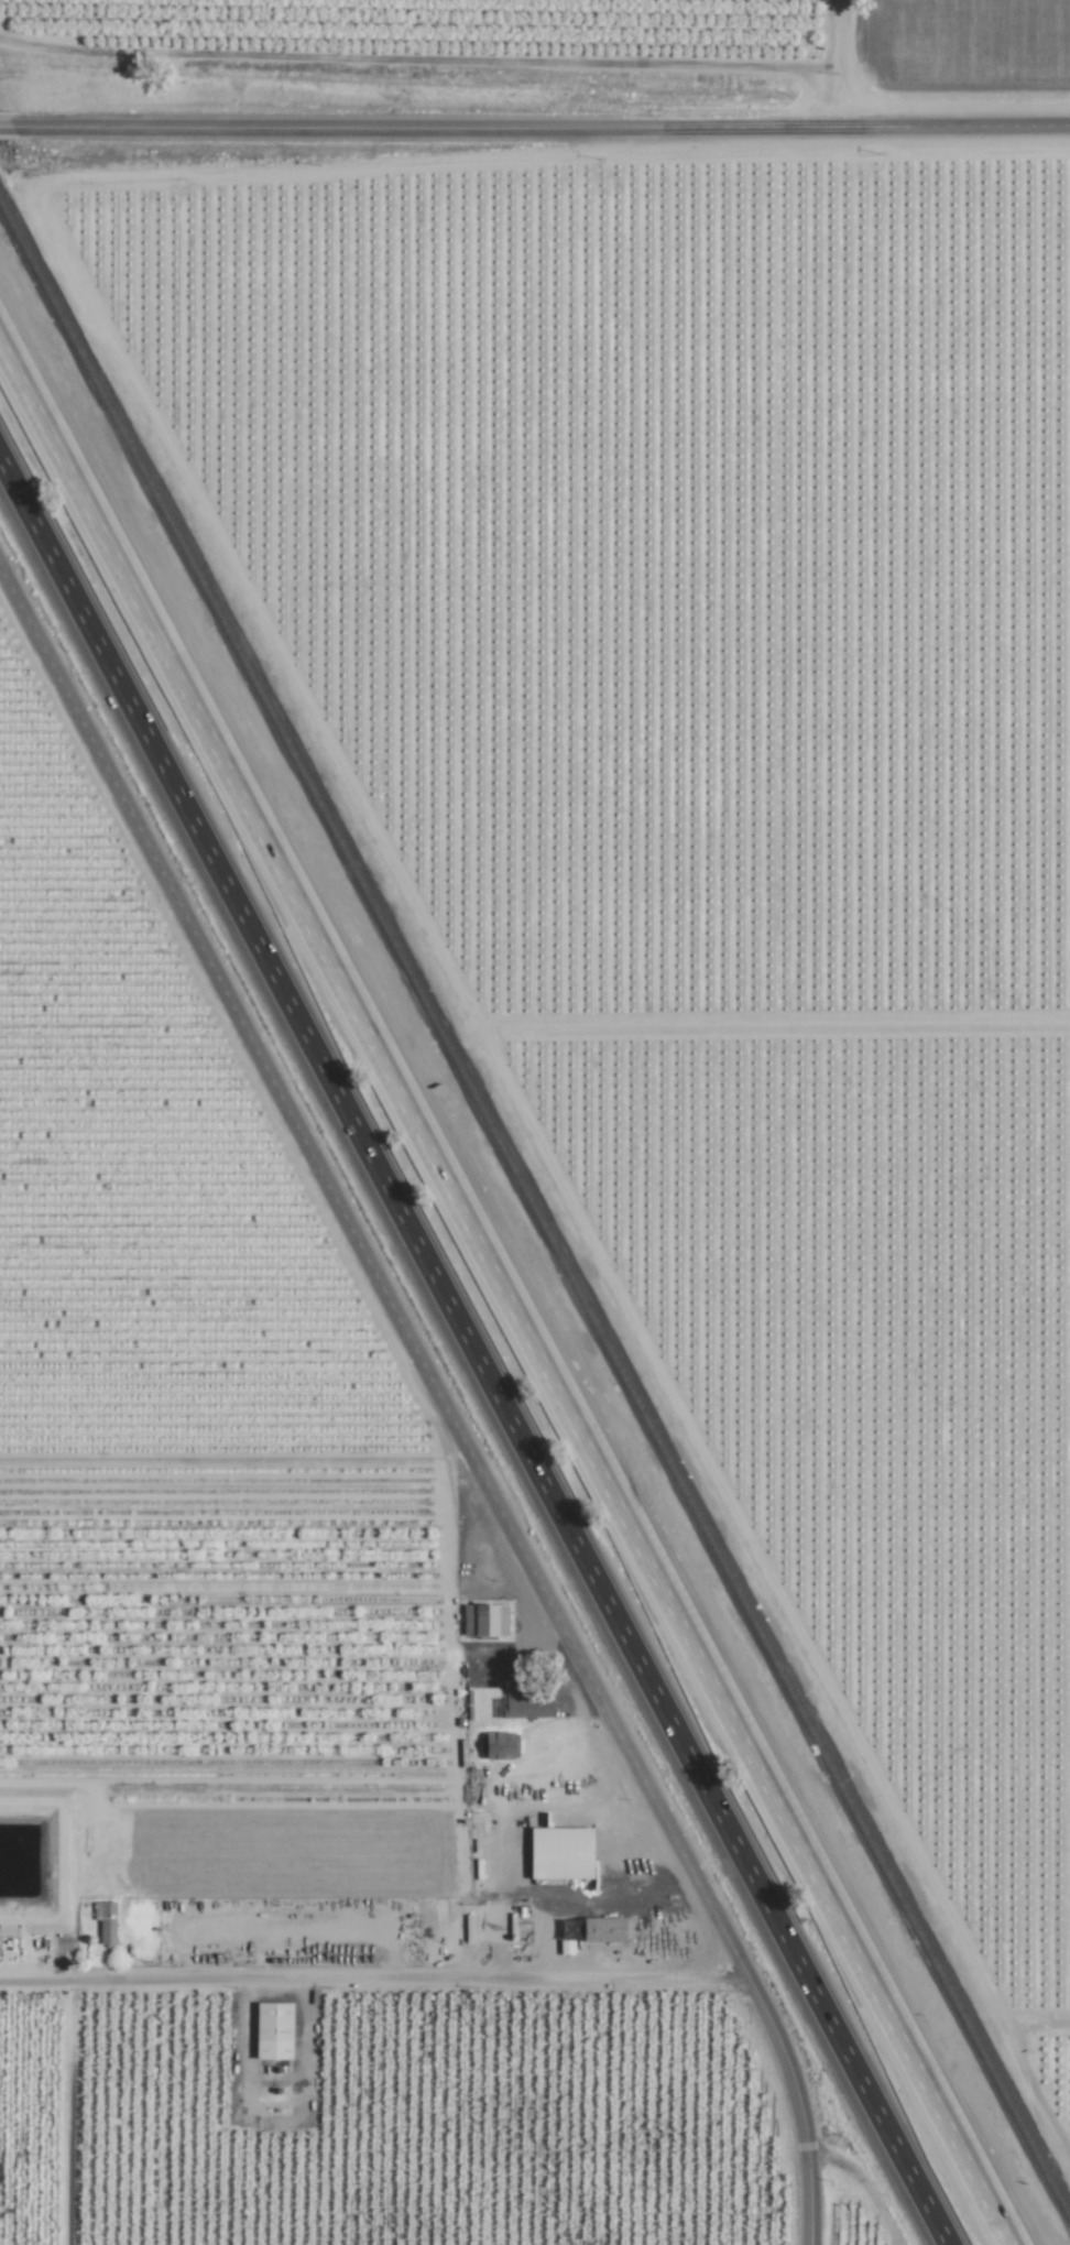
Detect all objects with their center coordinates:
road: (842, 63)
road: (3, 126)
road: (538, 126)
railway: (535, 1214)
road: (371, 1272)
road: (503, 1296)
road: (471, 1355)
building: (483, 1619)
crop: (315, 1666)
road: (535, 1712)
building: (500, 1744)
road: (504, 1828)
building: (566, 1851)
building: (108, 1920)
building: (608, 1928)
road: (374, 1972)
building: (276, 2029)
road: (800, 2102)
road: (67, 2110)

